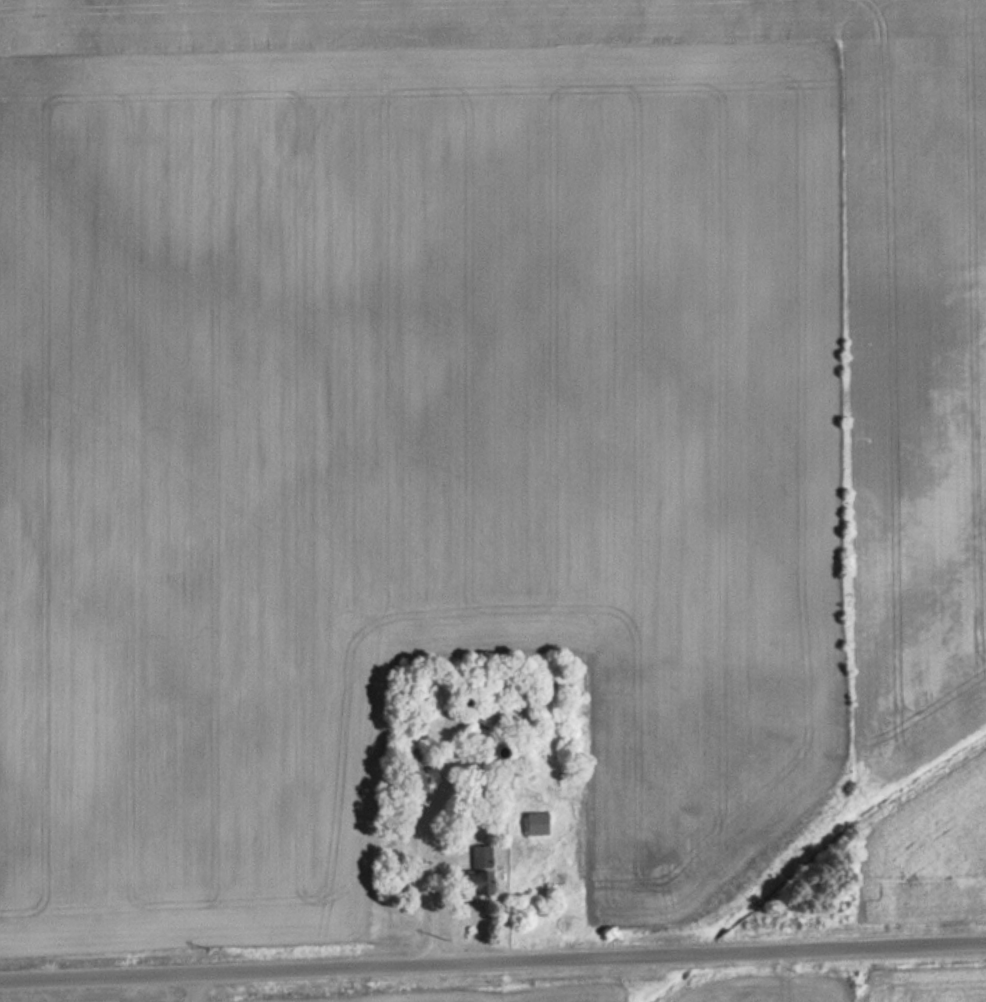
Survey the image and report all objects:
building: (540, 824)
building: (481, 857)
building: (481, 883)
road: (493, 961)
road: (191, 987)

